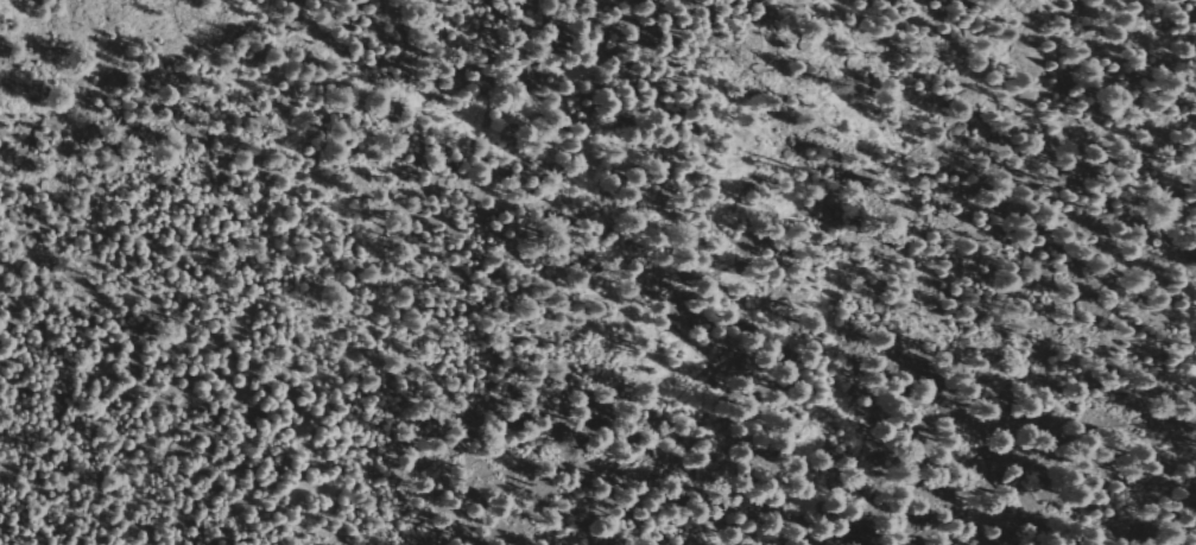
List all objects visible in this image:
road: (410, 300)

